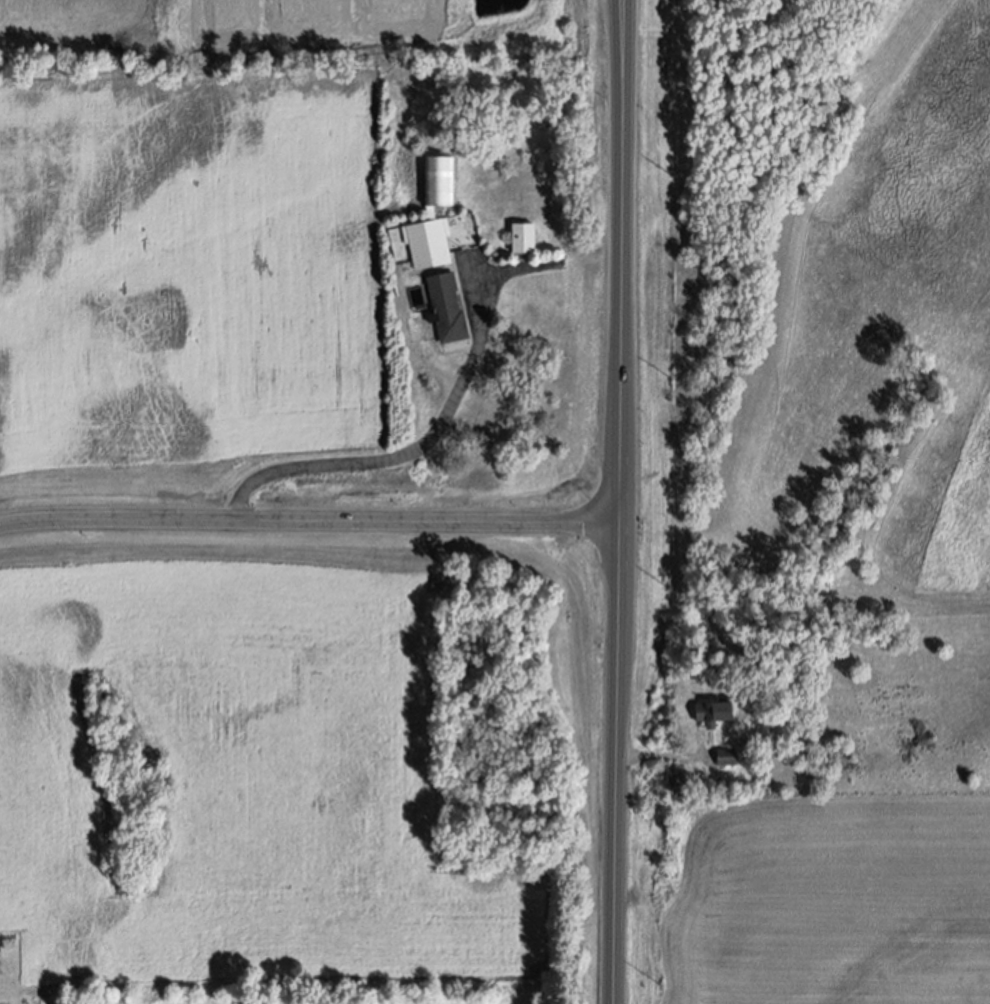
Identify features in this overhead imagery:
building: (432, 215)
building: (523, 237)
building: (446, 307)
road: (357, 456)
road: (620, 502)
road: (309, 519)
building: (709, 711)
building: (725, 756)

